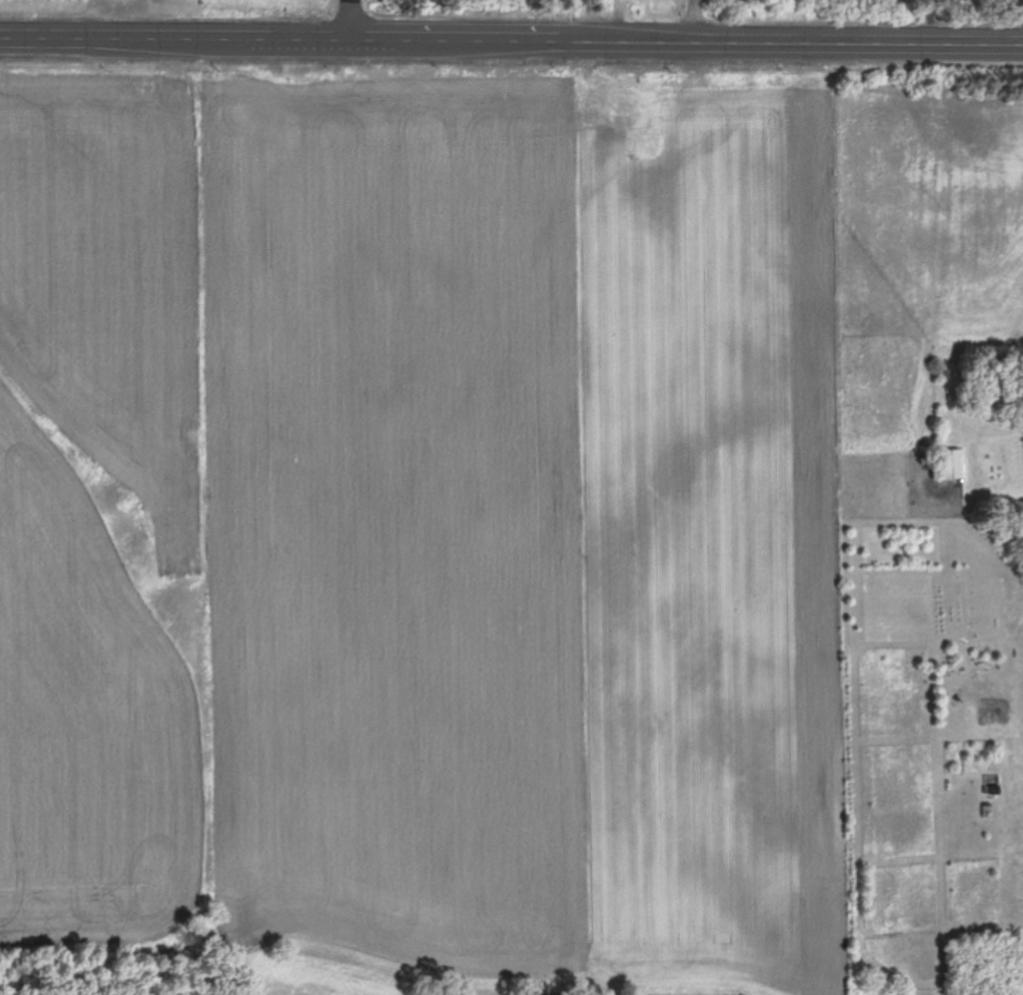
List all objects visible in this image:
road: (349, 21)
road: (689, 21)
road: (511, 42)
building: (951, 464)

